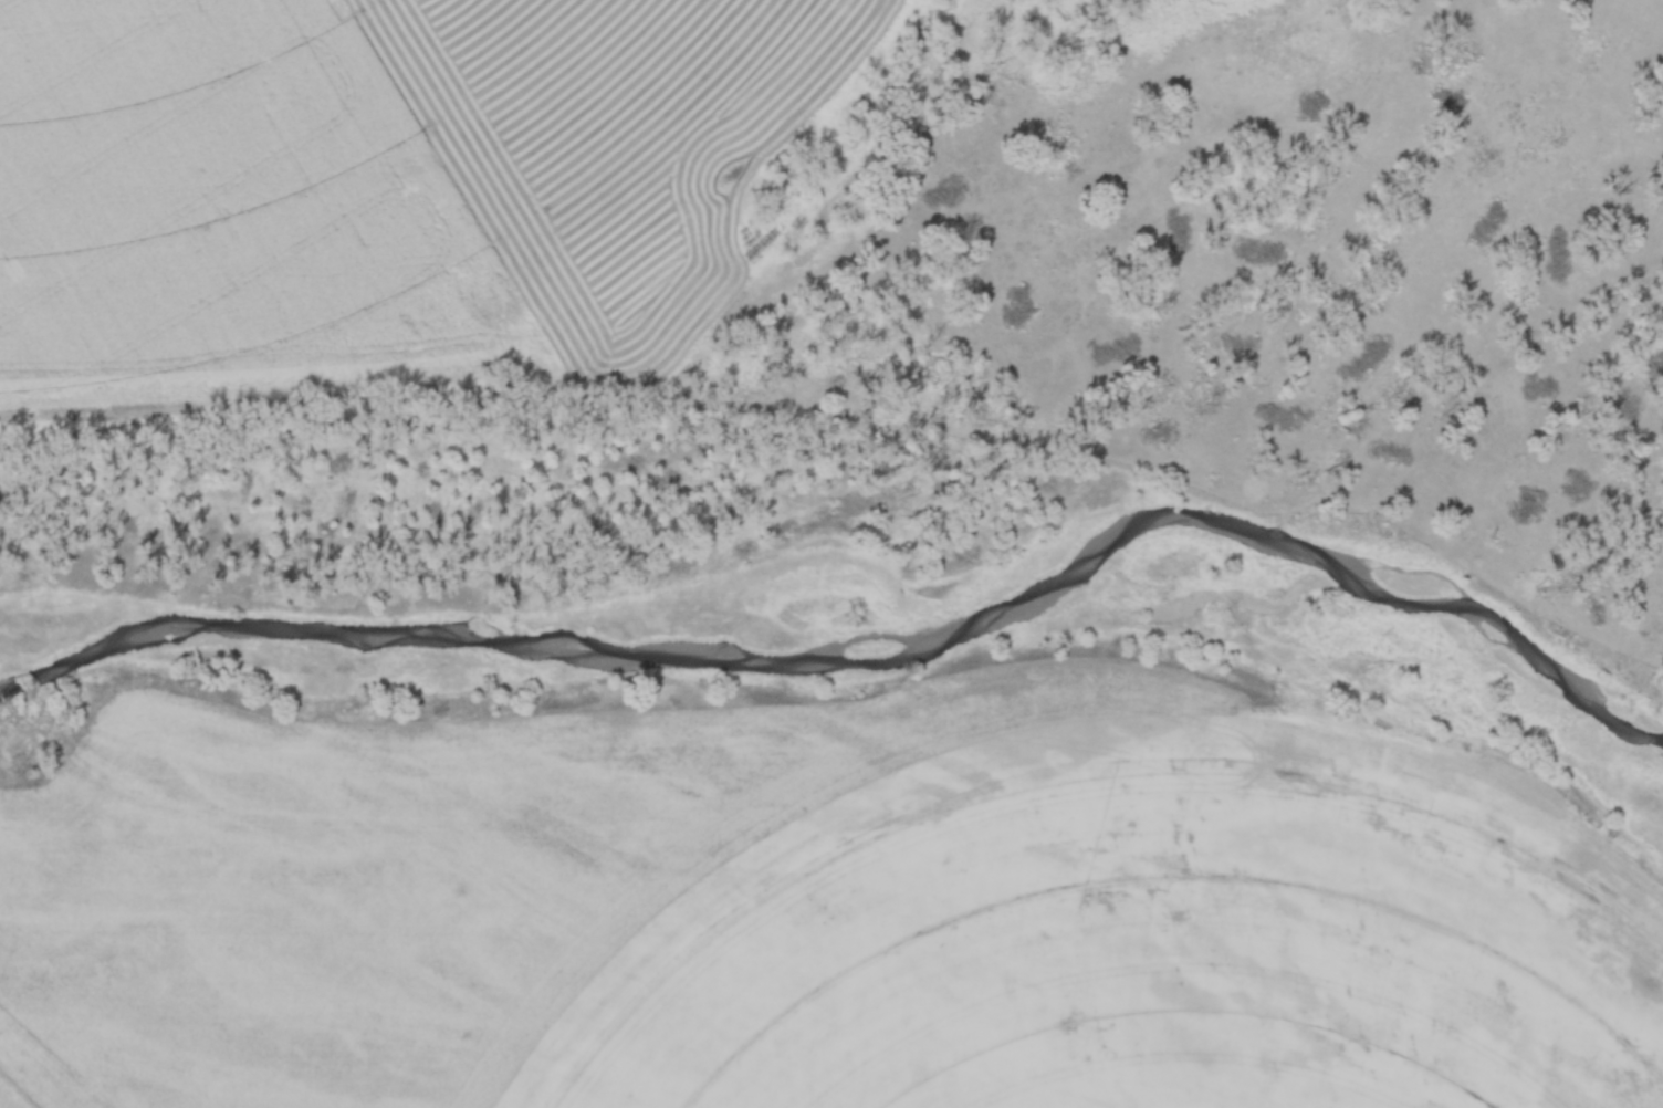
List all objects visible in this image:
river: (874, 659)

